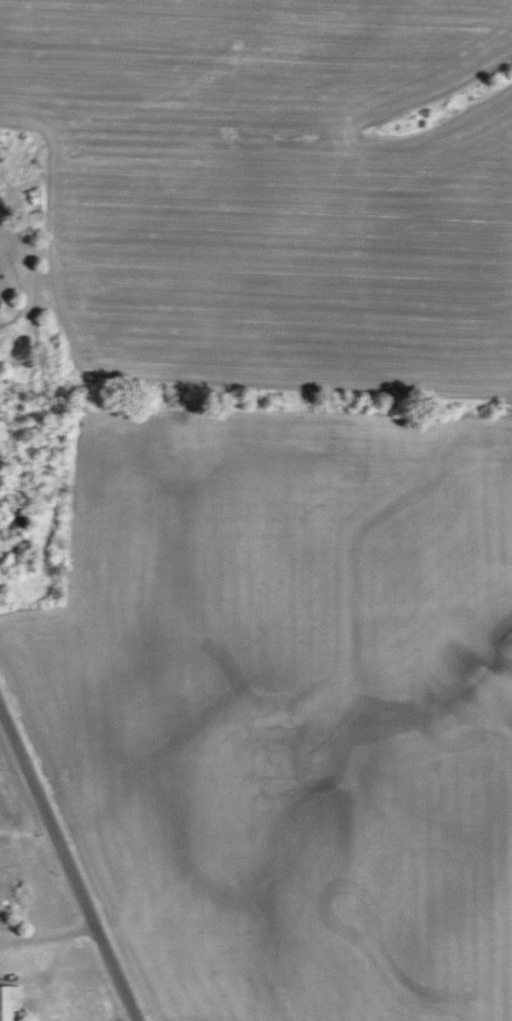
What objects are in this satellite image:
road: (65, 870)
building: (11, 1003)

